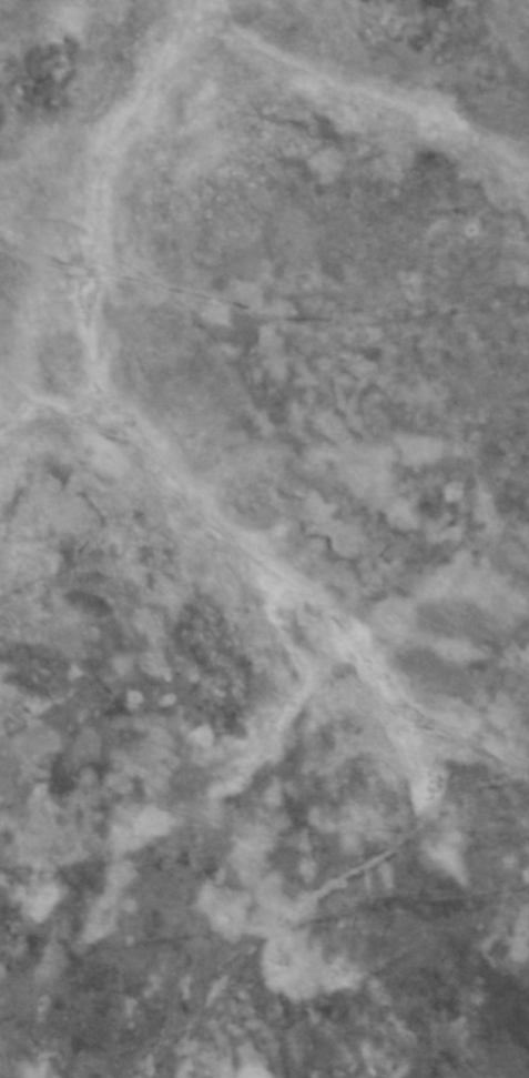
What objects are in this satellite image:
road: (257, 316)

